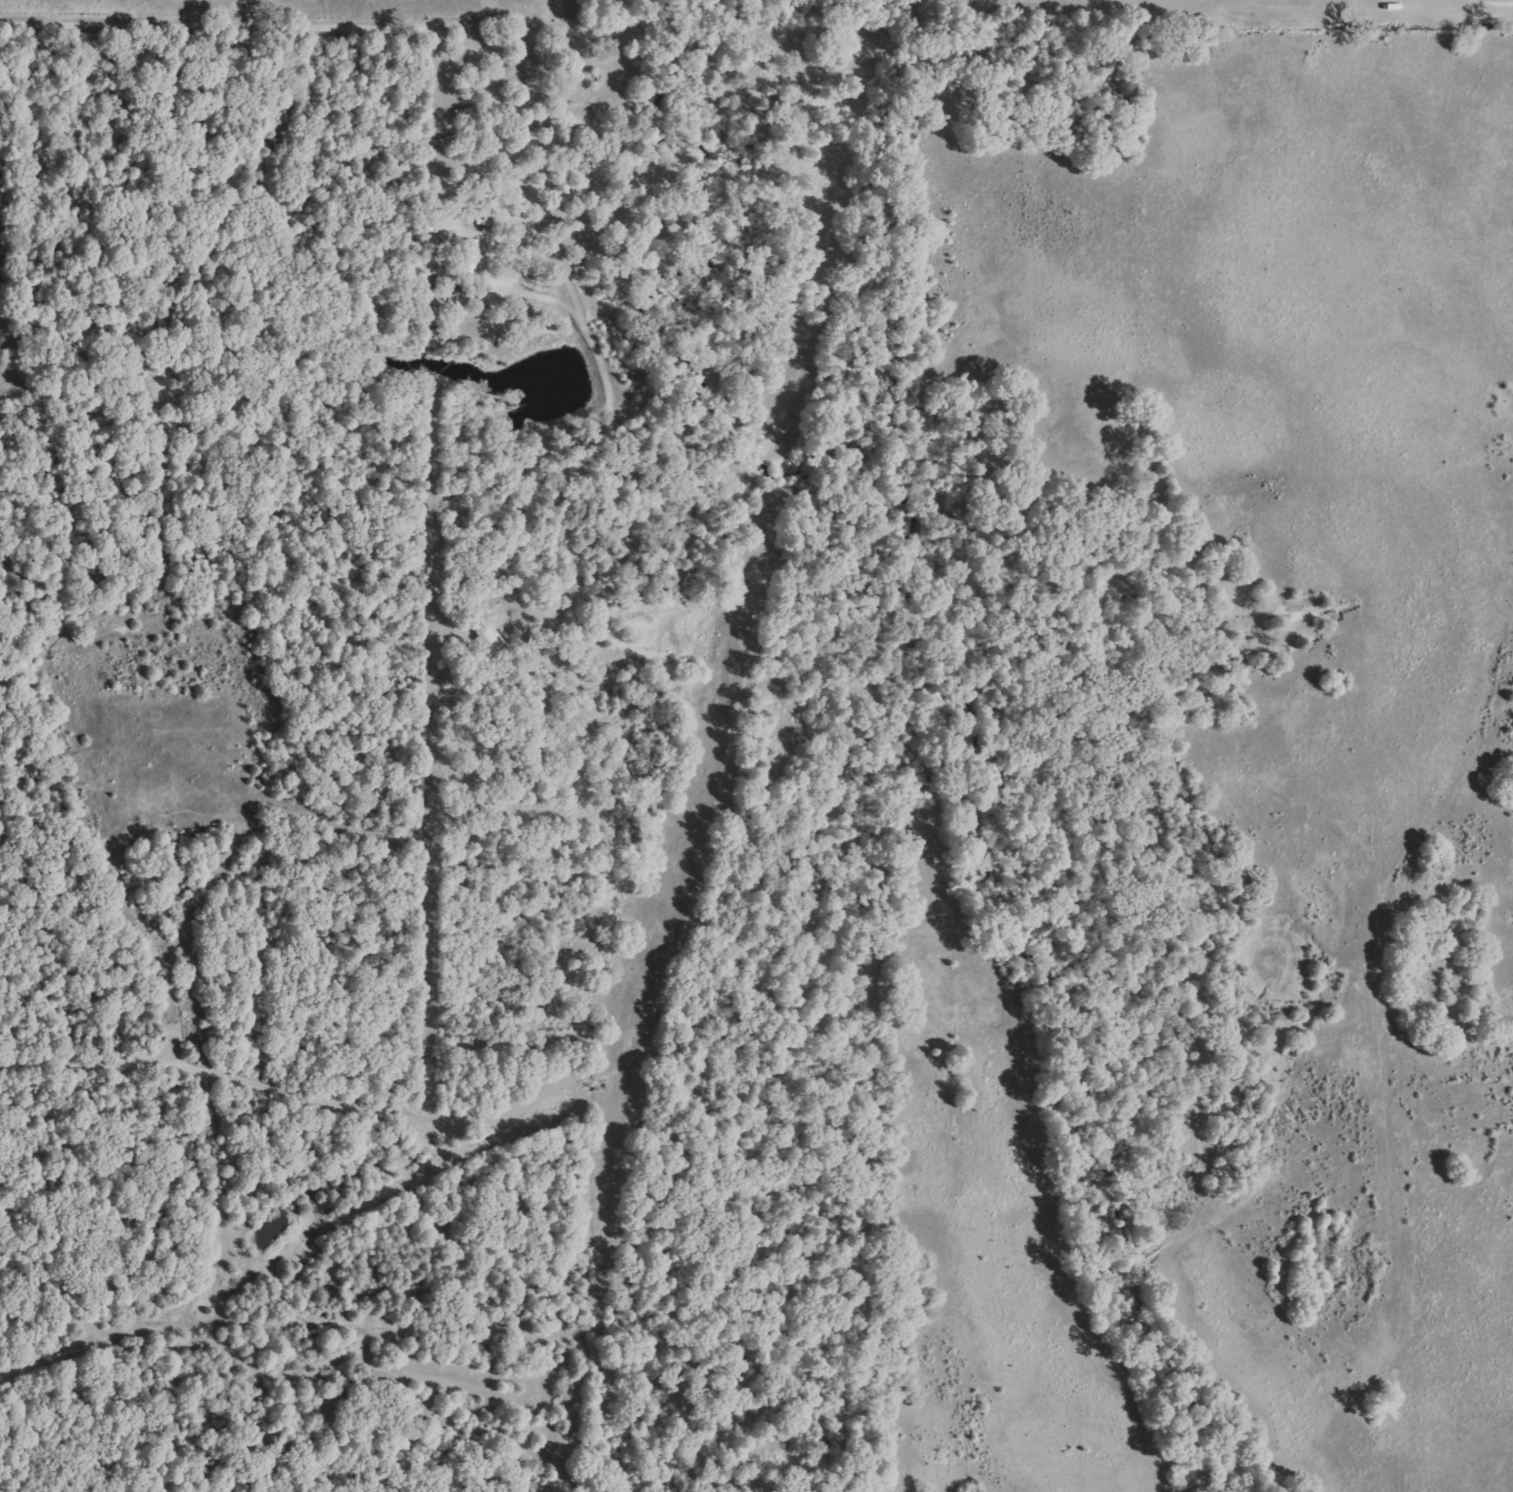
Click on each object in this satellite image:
road: (172, 997)

